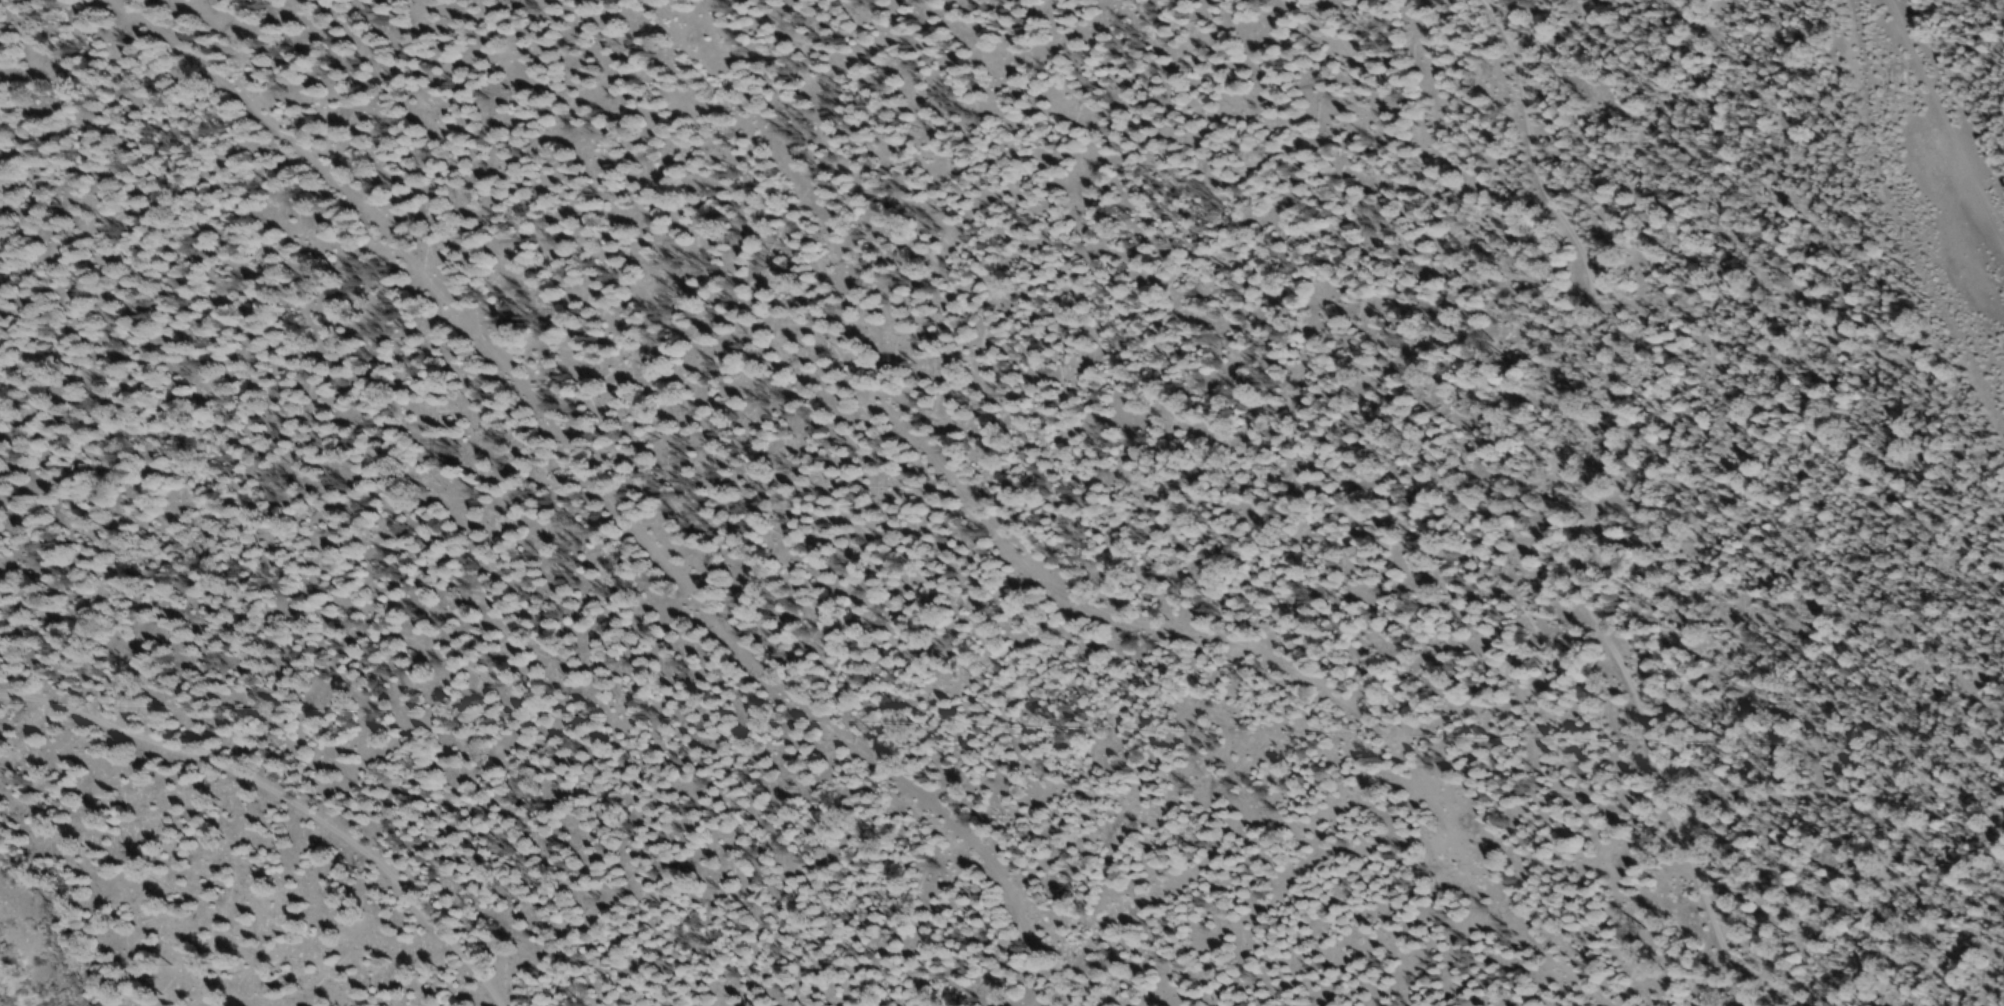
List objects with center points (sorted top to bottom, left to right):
road: (626, 499)
road: (1587, 504)
road: (1065, 594)
road: (295, 781)
road: (1455, 933)

